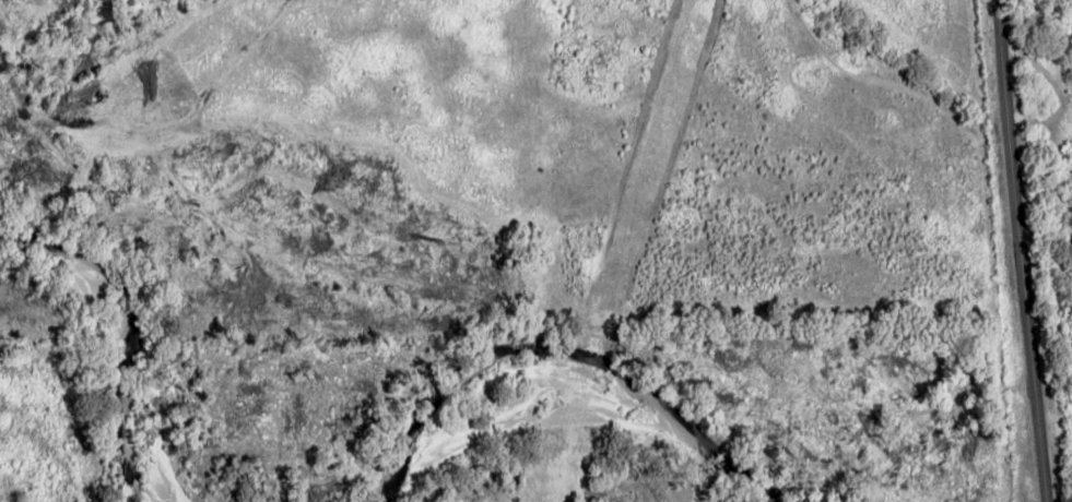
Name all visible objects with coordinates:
road: (1005, 251)

